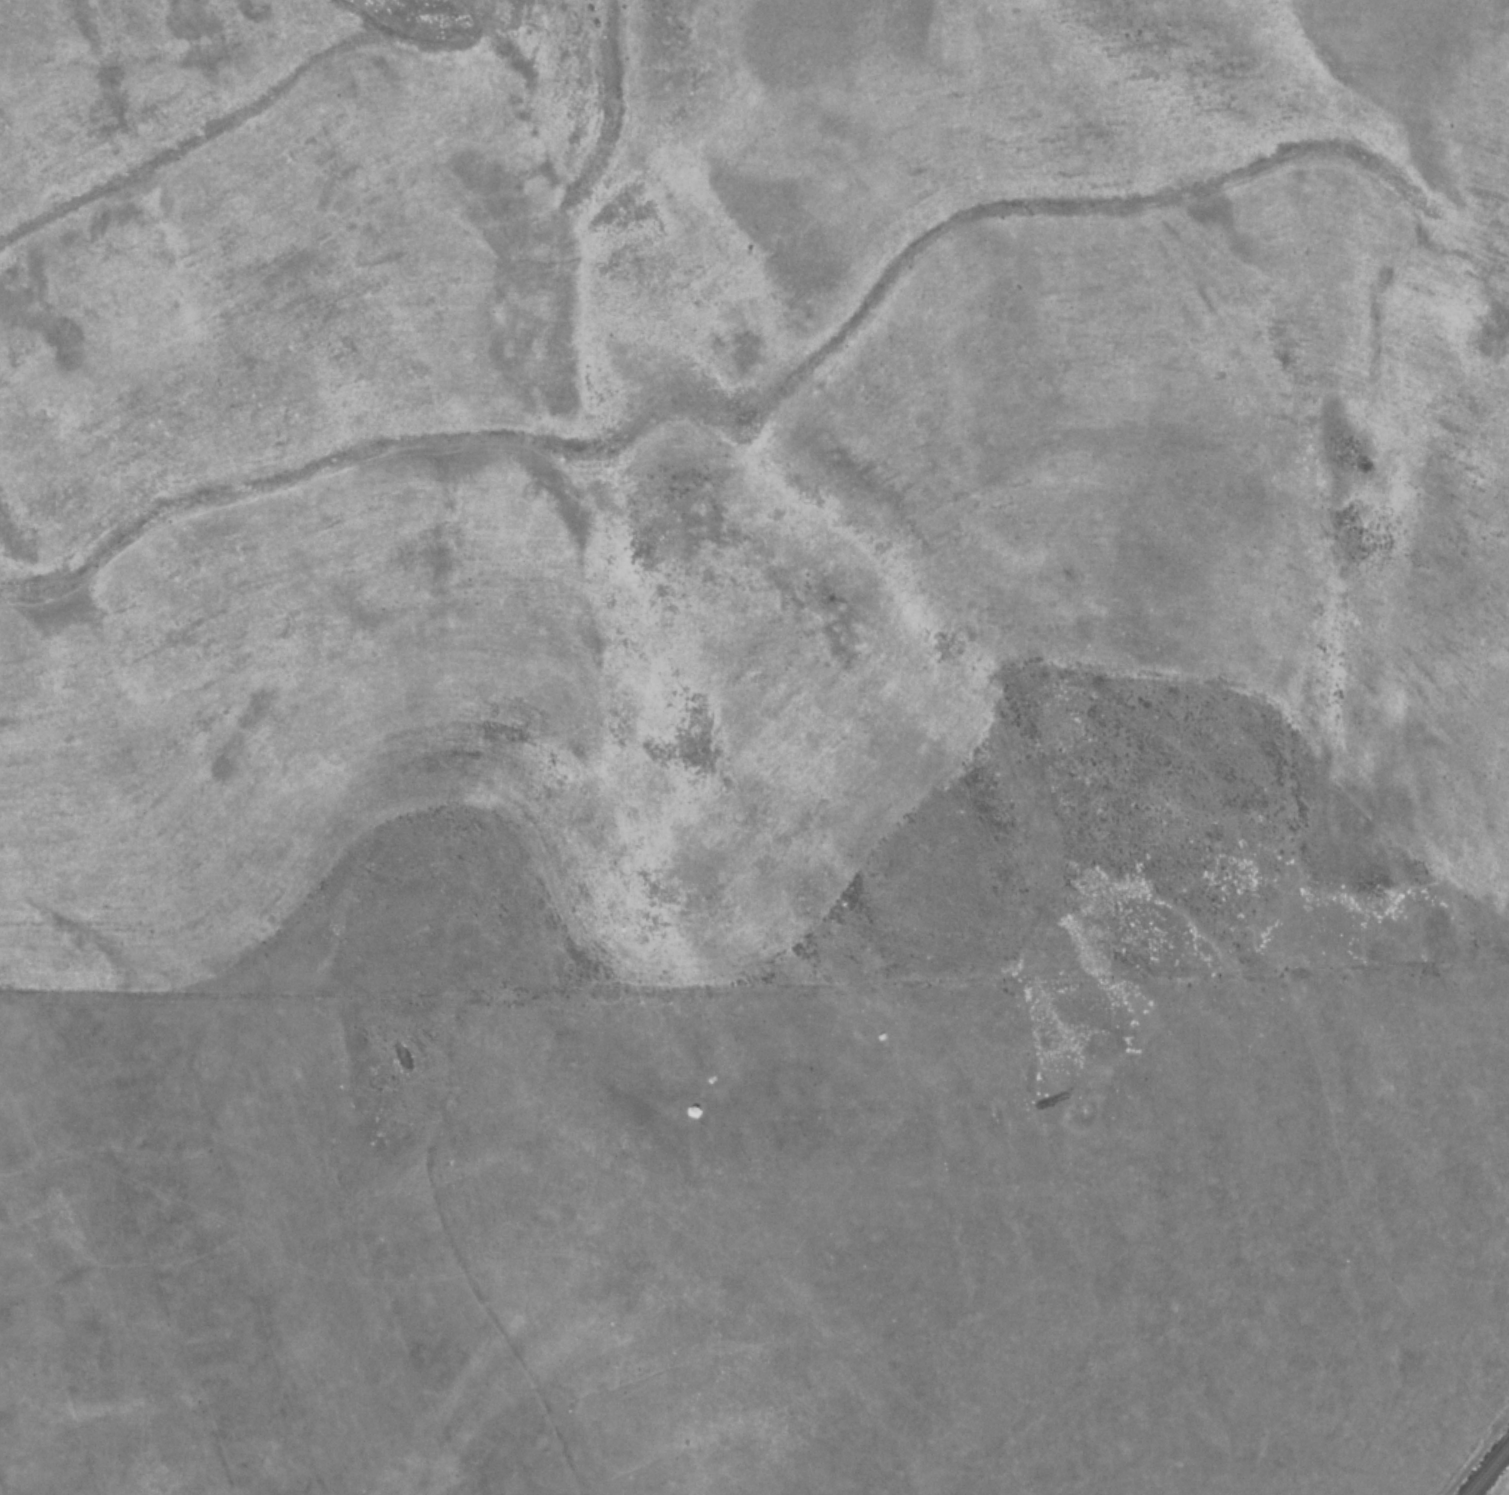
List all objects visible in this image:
road: (1487, 1469)

